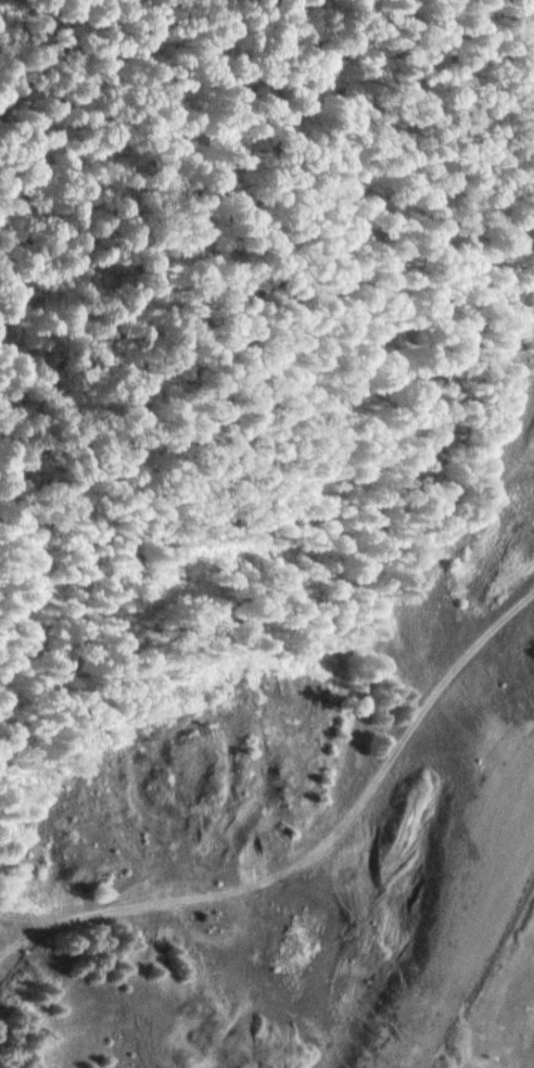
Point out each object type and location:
quarry: (302, 825)

